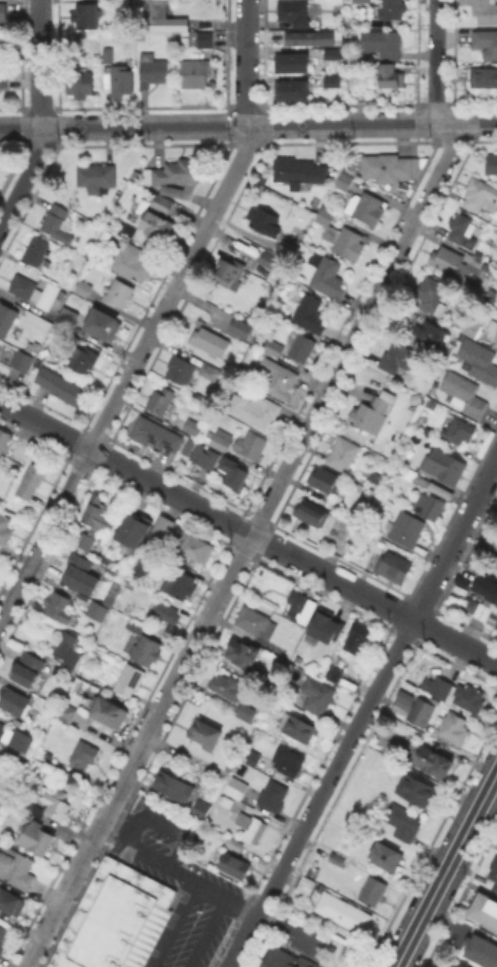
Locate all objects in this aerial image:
building: (362, 2)
building: (391, 9)
building: (294, 11)
building: (485, 11)
building: (88, 14)
building: (4, 15)
building: (159, 18)
building: (301, 38)
building: (202, 39)
building: (486, 44)
building: (382, 45)
building: (329, 53)
building: (109, 57)
building: (289, 62)
road: (436, 63)
building: (152, 69)
building: (192, 71)
building: (390, 77)
building: (483, 78)
building: (121, 80)
building: (322, 82)
building: (3, 83)
building: (79, 83)
building: (284, 91)
road: (41, 119)
road: (248, 125)
building: (492, 165)
building: (387, 167)
building: (299, 169)
building: (177, 170)
building: (97, 177)
building: (173, 191)
building: (480, 195)
building: (362, 201)
building: (162, 202)
building: (264, 219)
building: (58, 222)
building: (158, 224)
building: (459, 227)
building: (297, 234)
building: (342, 236)
building: (36, 249)
building: (287, 249)
building: (266, 257)
building: (446, 259)
building: (132, 261)
building: (227, 270)
building: (326, 274)
building: (22, 286)
building: (84, 287)
building: (120, 293)
building: (432, 294)
building: (310, 312)
building: (7, 317)
building: (67, 317)
road: (157, 319)
building: (103, 323)
building: (471, 327)
building: (241, 329)
building: (492, 331)
building: (429, 334)
building: (210, 341)
building: (273, 346)
building: (302, 346)
building: (400, 357)
building: (83, 358)
building: (480, 358)
building: (23, 360)
building: (180, 368)
building: (209, 370)
building: (279, 379)
building: (63, 388)
building: (464, 392)
building: (418, 397)
building: (160, 399)
building: (254, 409)
building: (371, 413)
building: (192, 428)
building: (458, 429)
building: (156, 433)
building: (4, 438)
building: (221, 439)
building: (250, 443)
building: (343, 453)
building: (207, 455)
building: (444, 465)
building: (233, 471)
building: (324, 478)
building: (31, 480)
building: (429, 504)
building: (311, 511)
building: (94, 521)
building: (406, 527)
building: (5, 528)
building: (134, 531)
building: (160, 532)
road: (249, 532)
building: (489, 541)
building: (196, 546)
road: (245, 546)
building: (395, 566)
building: (84, 573)
building: (459, 580)
building: (179, 582)
building: (484, 586)
building: (108, 600)
building: (57, 604)
building: (472, 606)
building: (302, 607)
building: (166, 610)
building: (98, 612)
building: (252, 619)
building: (134, 625)
building: (326, 627)
building: (496, 627)
building: (357, 637)
building: (146, 650)
building: (243, 651)
building: (67, 653)
building: (290, 665)
building: (28, 670)
building: (334, 671)
building: (130, 679)
building: (227, 686)
building: (456, 692)
building: (314, 694)
building: (14, 700)
building: (276, 700)
building: (108, 710)
building: (245, 710)
building: (420, 710)
building: (67, 714)
road: (364, 714)
building: (294, 726)
building: (454, 727)
building: (2, 731)
building: (206, 733)
building: (21, 741)
building: (84, 753)
building: (249, 756)
building: (435, 756)
building: (285, 759)
building: (61, 762)
building: (0, 769)
building: (174, 785)
building: (236, 786)
building: (417, 789)
building: (273, 794)
building: (56, 807)
building: (201, 808)
building: (19, 812)
building: (403, 821)
building: (251, 826)
building: (37, 840)
building: (235, 842)
road: (175, 848)
building: (386, 854)
building: (337, 857)
building: (235, 864)
building: (16, 866)
building: (492, 870)
road: (447, 871)
building: (373, 890)
building: (12, 900)
building: (340, 911)
building: (485, 914)
building: (114, 918)
road: (174, 924)
road: (283, 927)
road: (204, 931)
building: (4, 937)
building: (483, 948)
building: (284, 959)
building: (459, 964)

